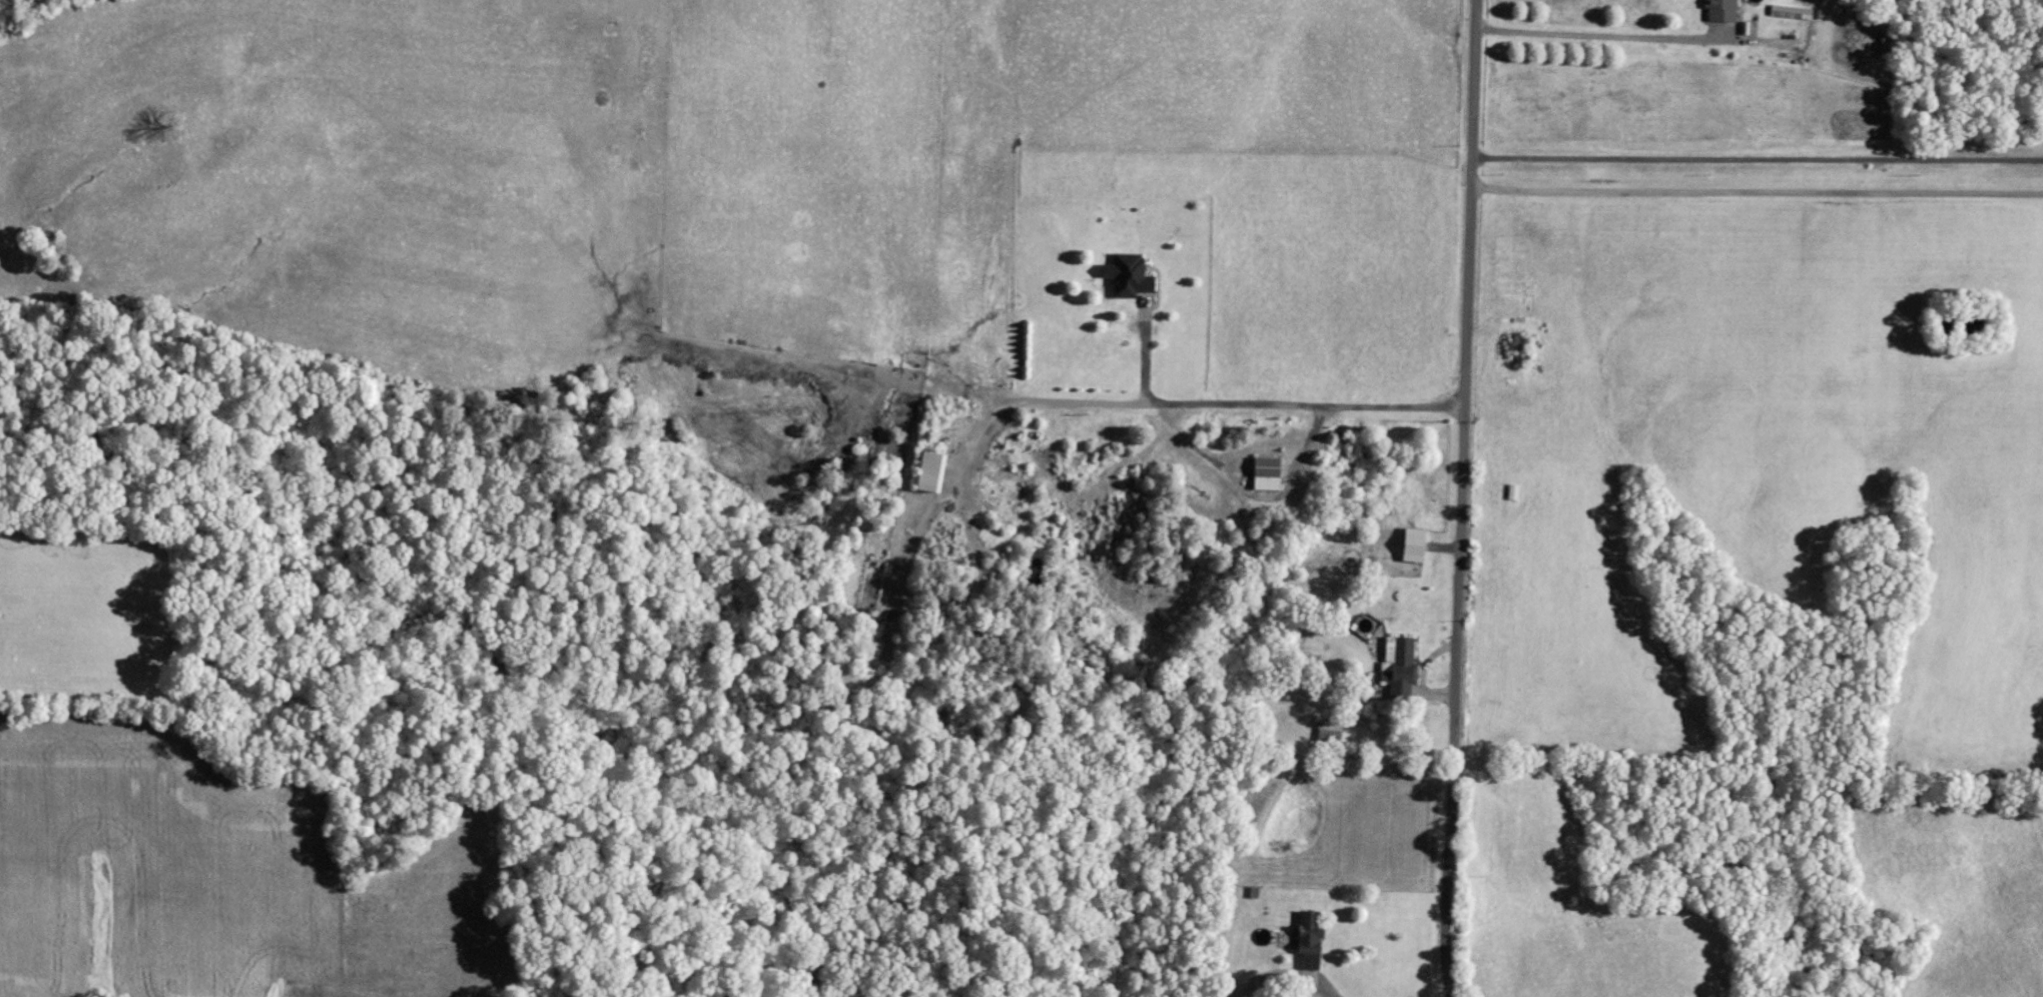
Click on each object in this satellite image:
building: (1720, 10)
building: (1791, 13)
building: (1133, 277)
building: (937, 473)
building: (1264, 474)
road: (1464, 498)
building: (1410, 545)
building: (1396, 664)
building: (1327, 730)
building: (1306, 939)

